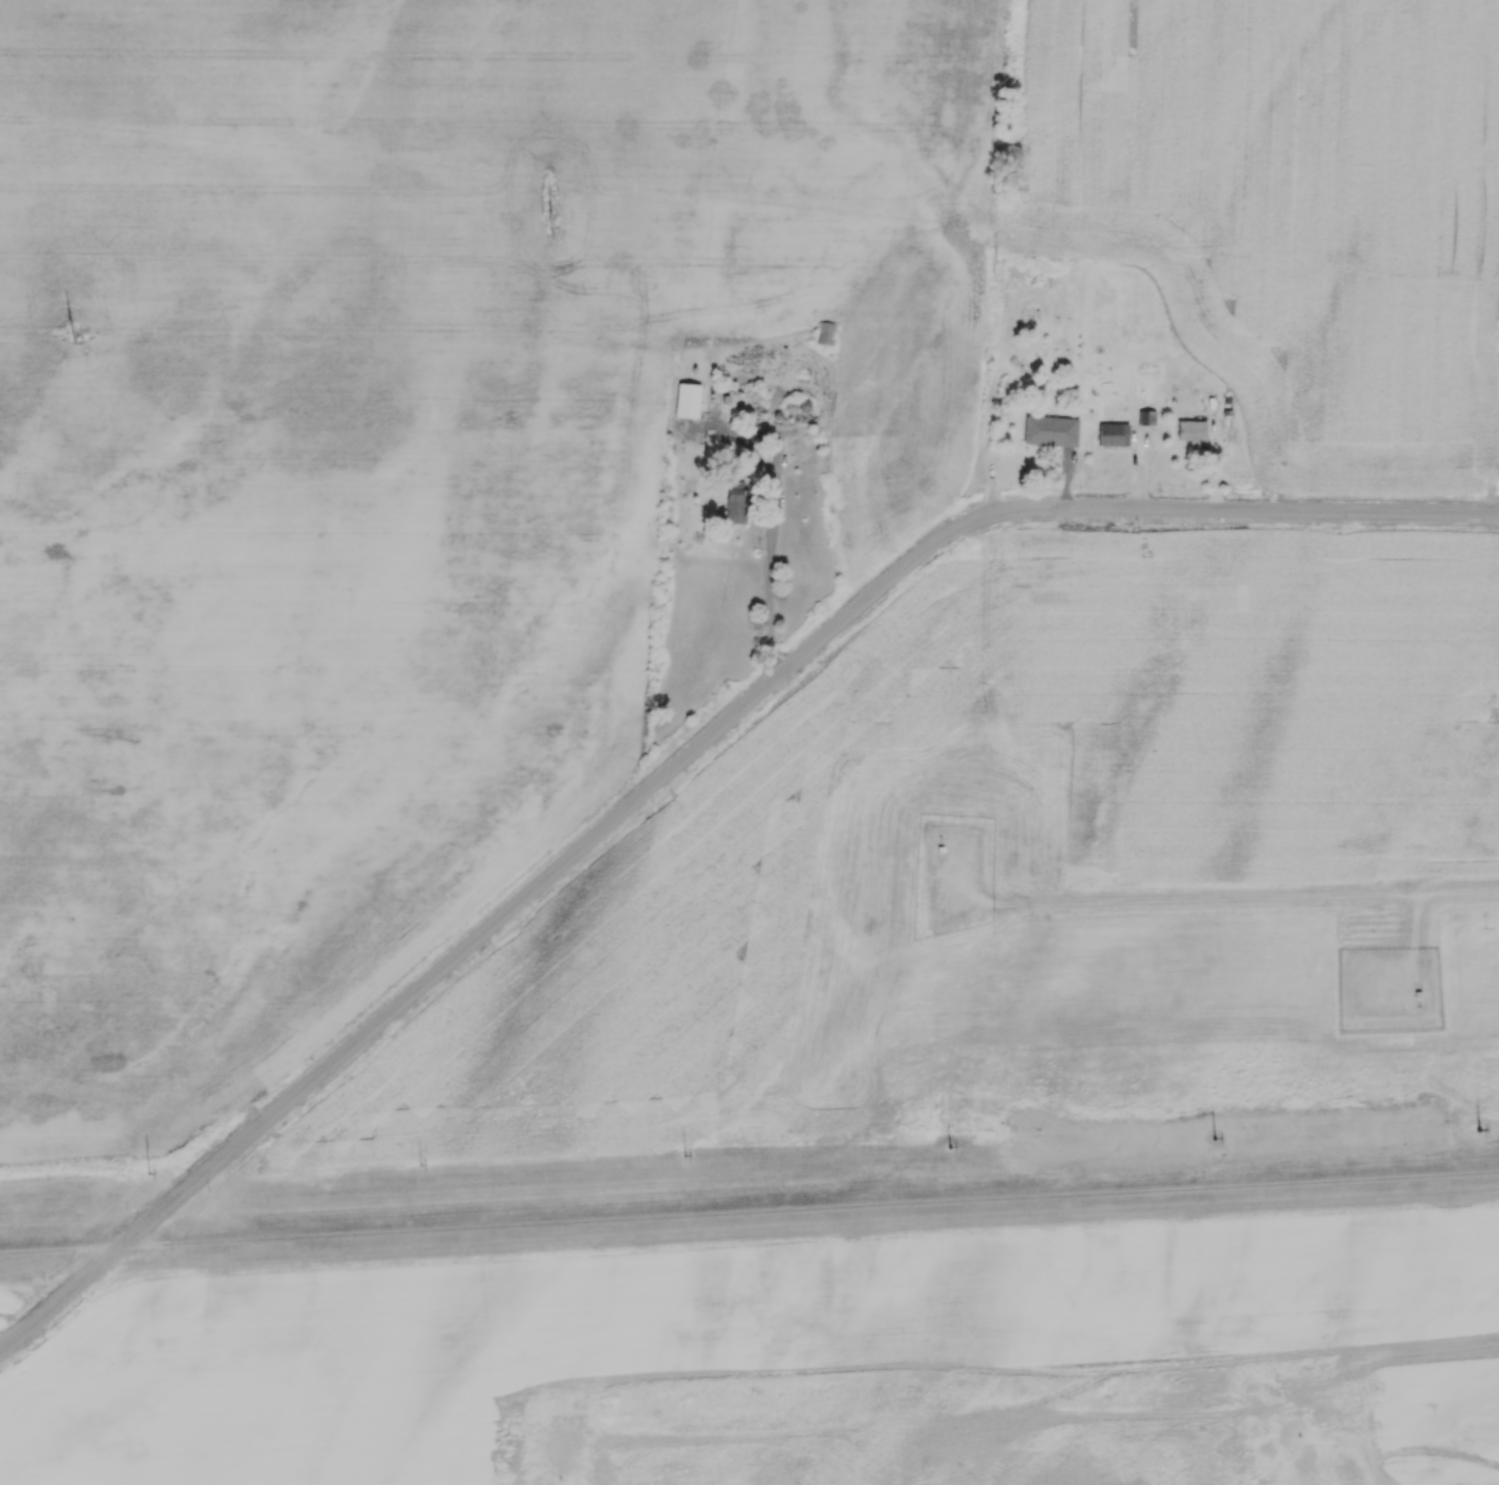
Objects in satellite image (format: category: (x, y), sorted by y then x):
crop: (1293, 213)
power tower: (553, 214)
power tower: (995, 271)
power tower: (1498, 328)
power tower: (73, 332)
crop: (392, 462)
road: (769, 546)
road: (682, 760)
power tower: (1480, 1132)
power tower: (1214, 1140)
power tower: (950, 1149)
power tower: (686, 1158)
power tower: (421, 1166)
power tower: (150, 1175)
road: (749, 1212)

